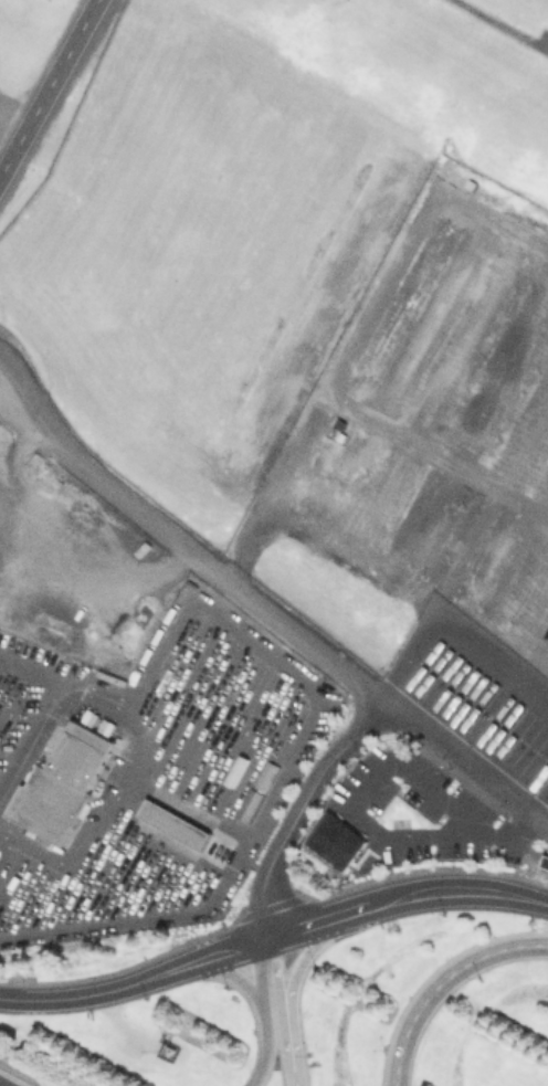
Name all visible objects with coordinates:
road: (504, 24)
road: (46, 85)
building: (472, 184)
airport: (285, 334)
parking lot: (0, 424)
building: (341, 424)
parking lot: (442, 465)
road: (493, 488)
road: (281, 623)
road: (235, 624)
road: (34, 668)
road: (70, 687)
parking lot: (148, 774)
building: (61, 780)
building: (256, 791)
road: (359, 793)
road: (298, 811)
building: (171, 822)
building: (330, 843)
road: (80, 857)
building: (546, 861)
road: (445, 893)
road: (210, 908)
road: (303, 926)
road: (233, 950)
road: (259, 974)
road: (239, 978)
road: (442, 982)
road: (291, 988)
road: (104, 992)
road: (281, 1009)
road: (265, 1048)
road: (20, 1074)
road: (295, 1083)

